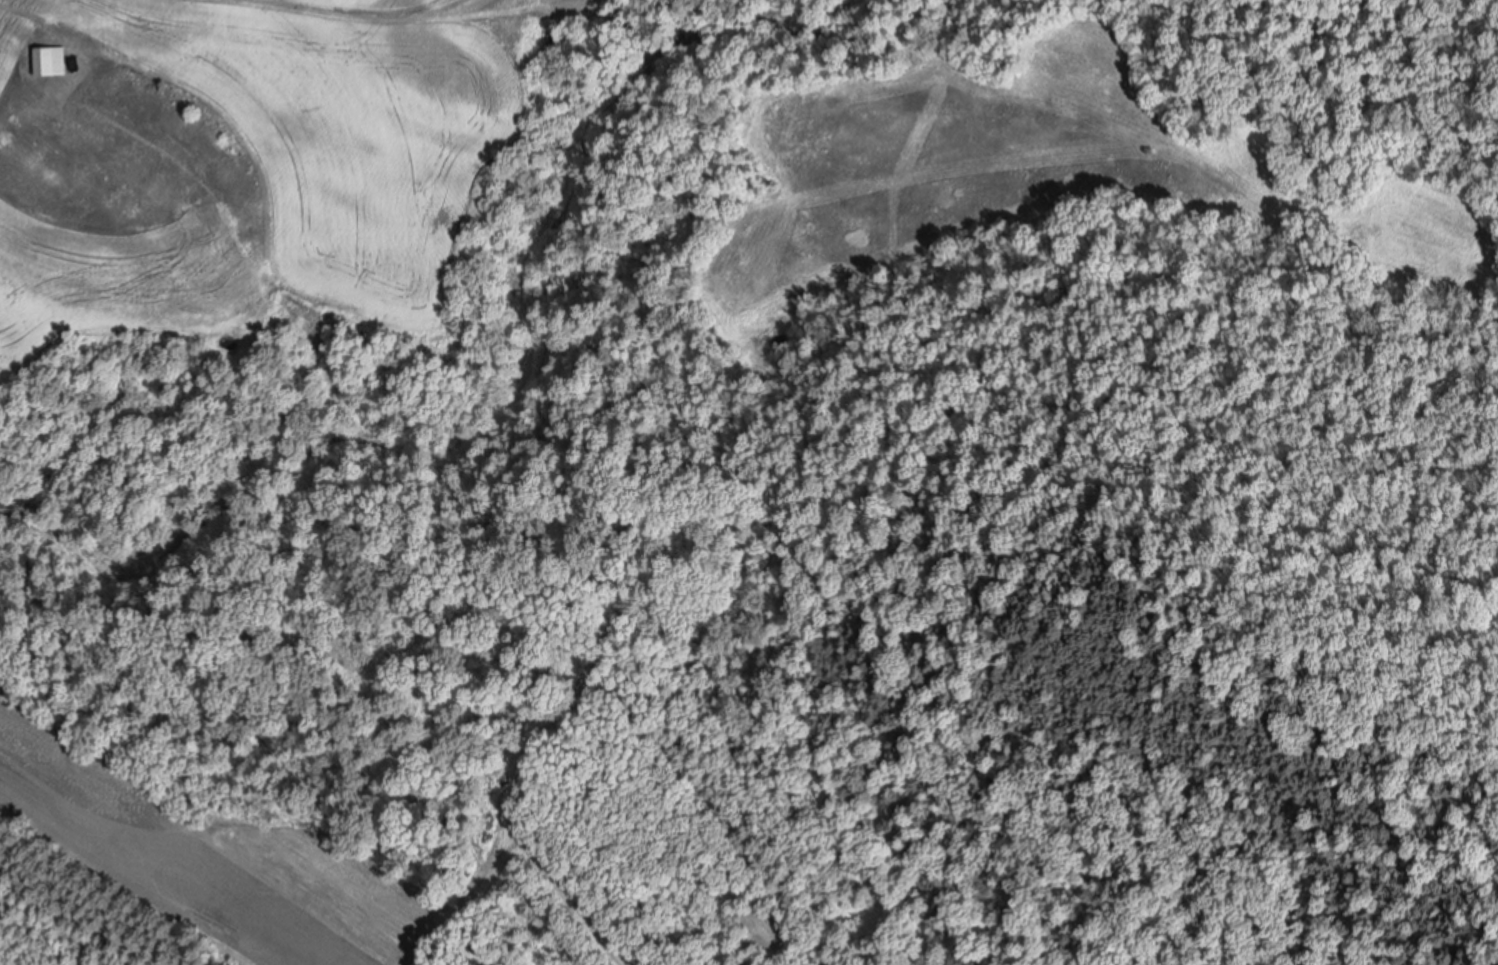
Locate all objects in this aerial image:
building: (49, 59)

